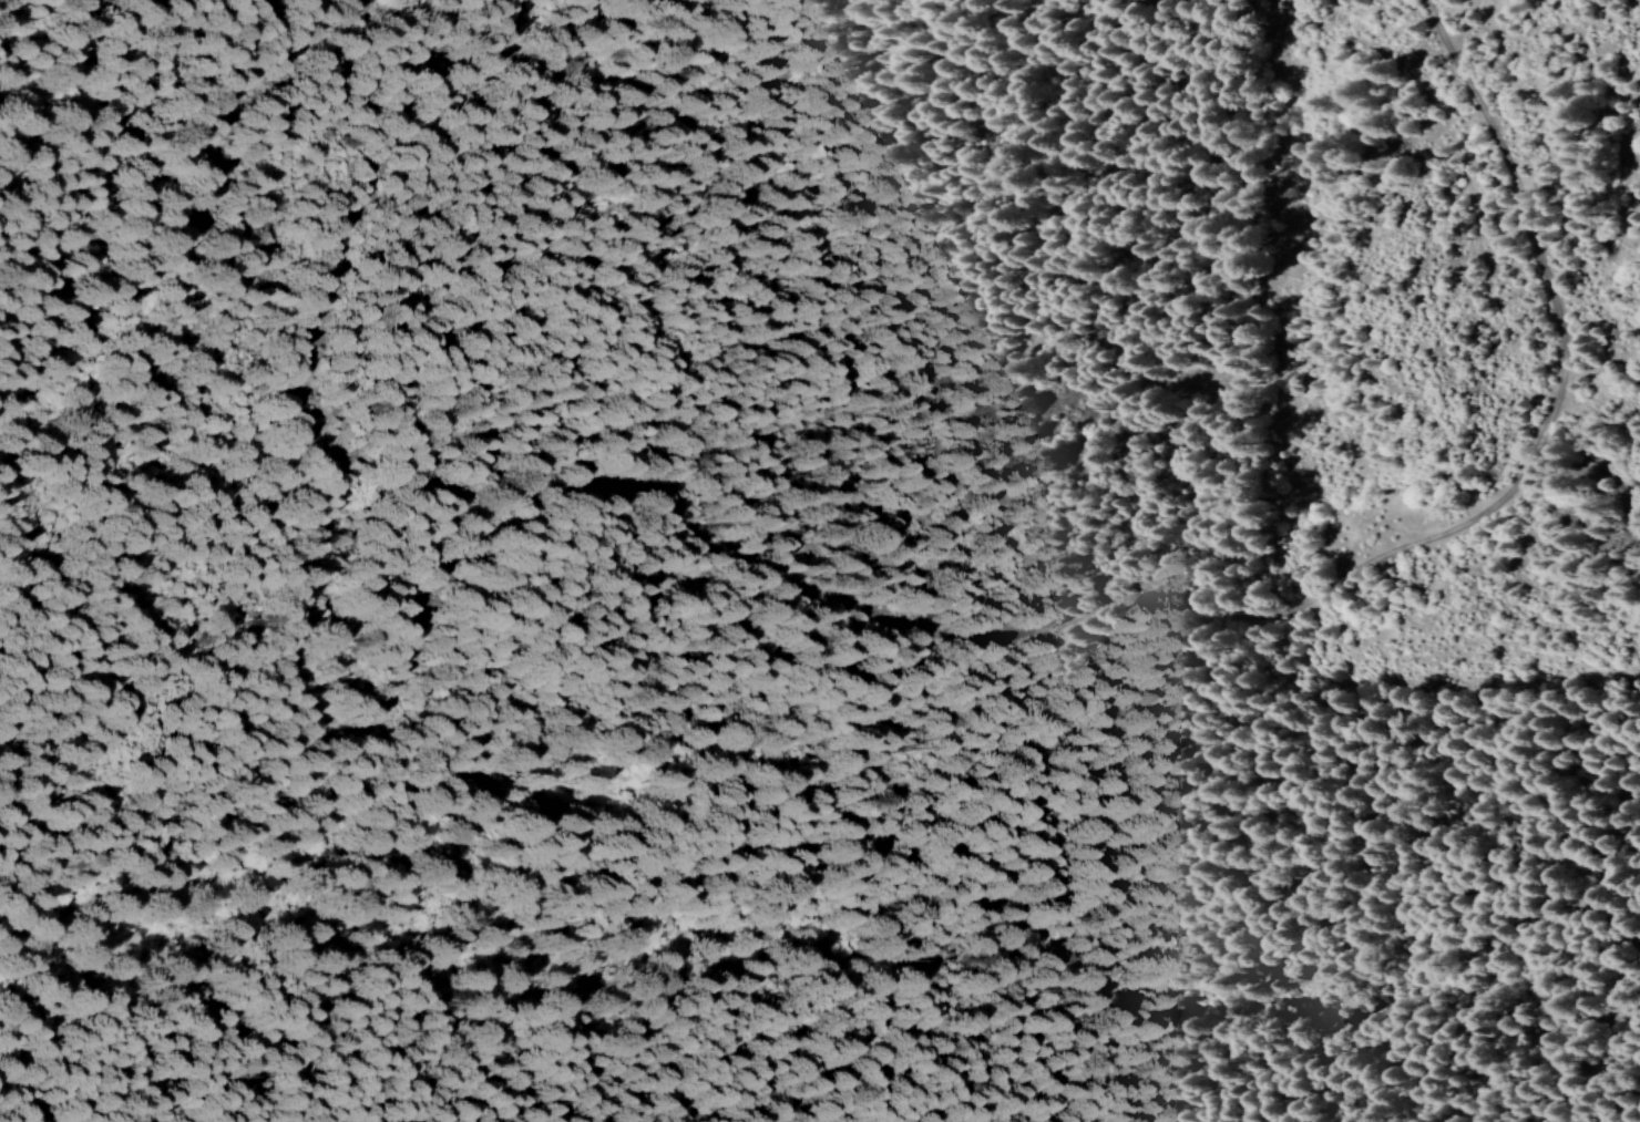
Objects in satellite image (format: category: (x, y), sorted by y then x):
road: (227, 228)
road: (722, 543)

